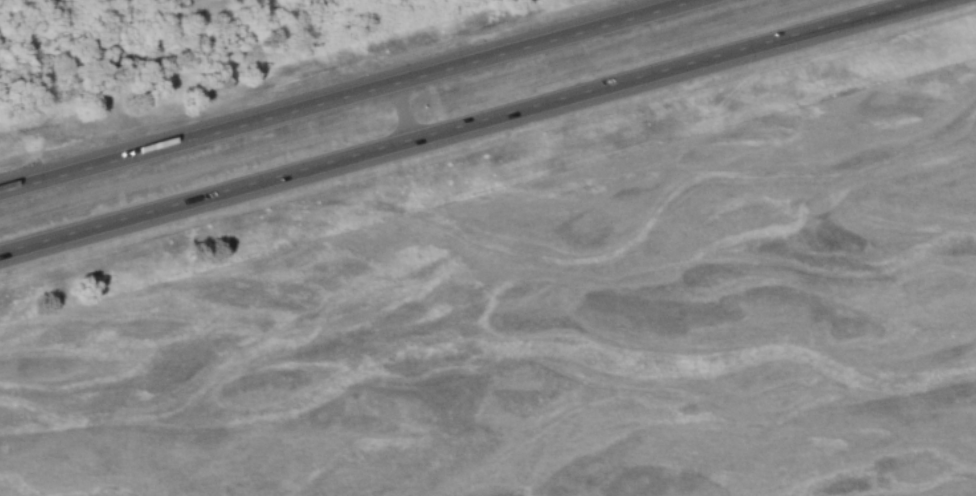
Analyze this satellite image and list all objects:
road: (357, 97)
road: (401, 117)
road: (470, 129)

